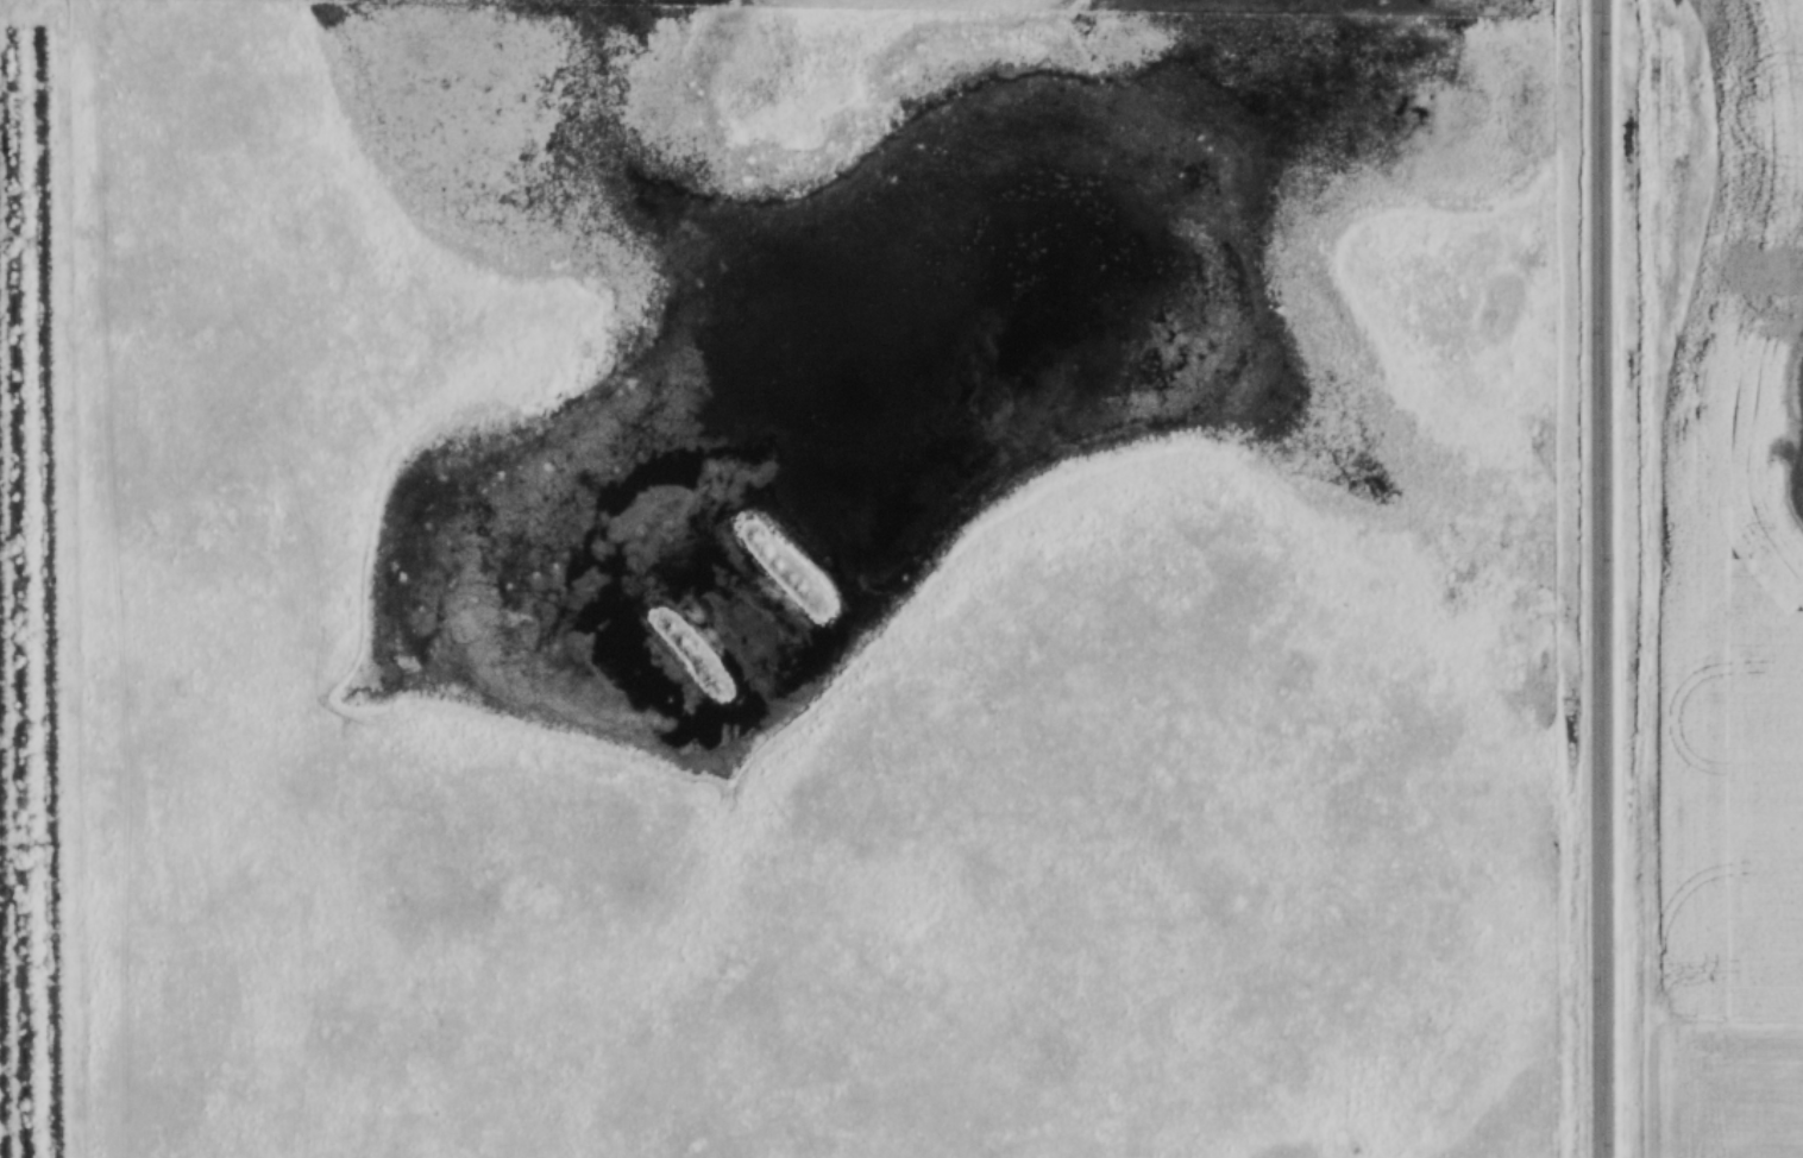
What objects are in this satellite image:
road: (1606, 578)

